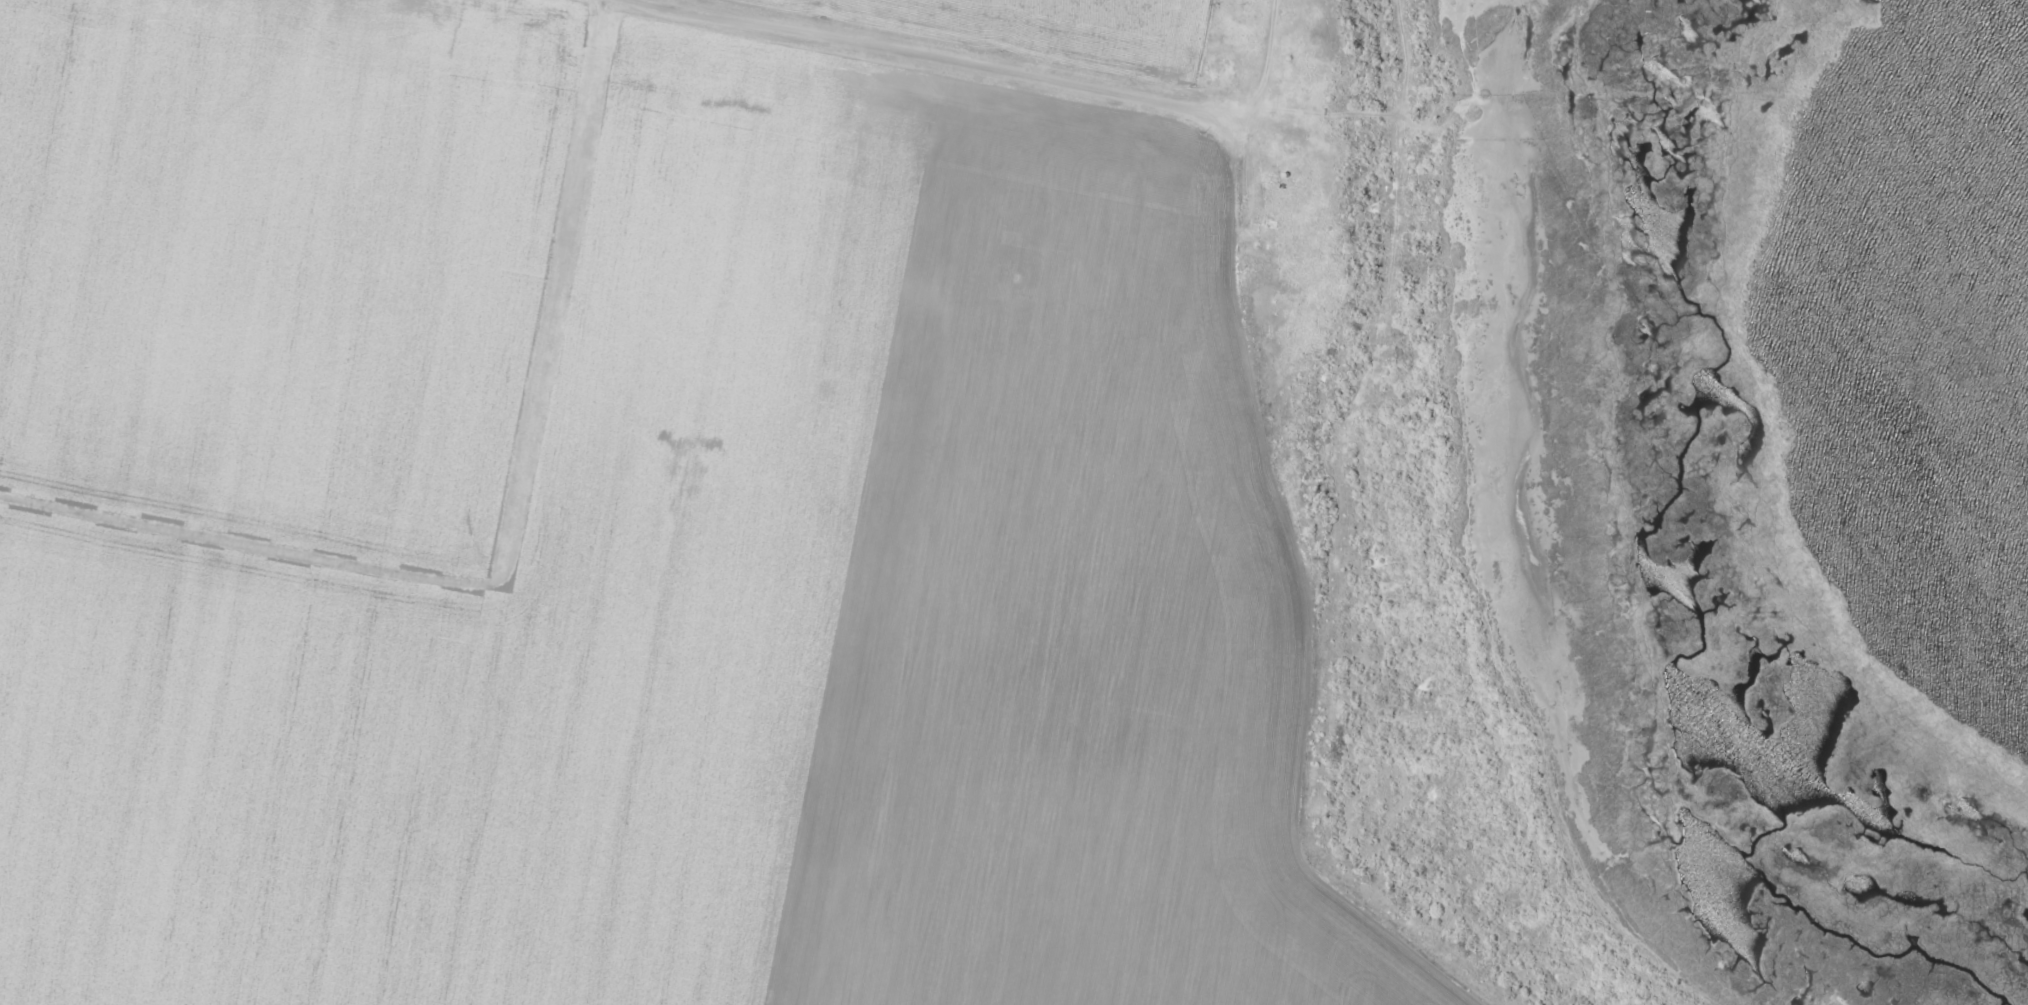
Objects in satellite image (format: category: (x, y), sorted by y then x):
road: (891, 64)
road: (1232, 67)
building: (1217, 69)
building: (1289, 93)
building: (1278, 228)
road: (1282, 597)

